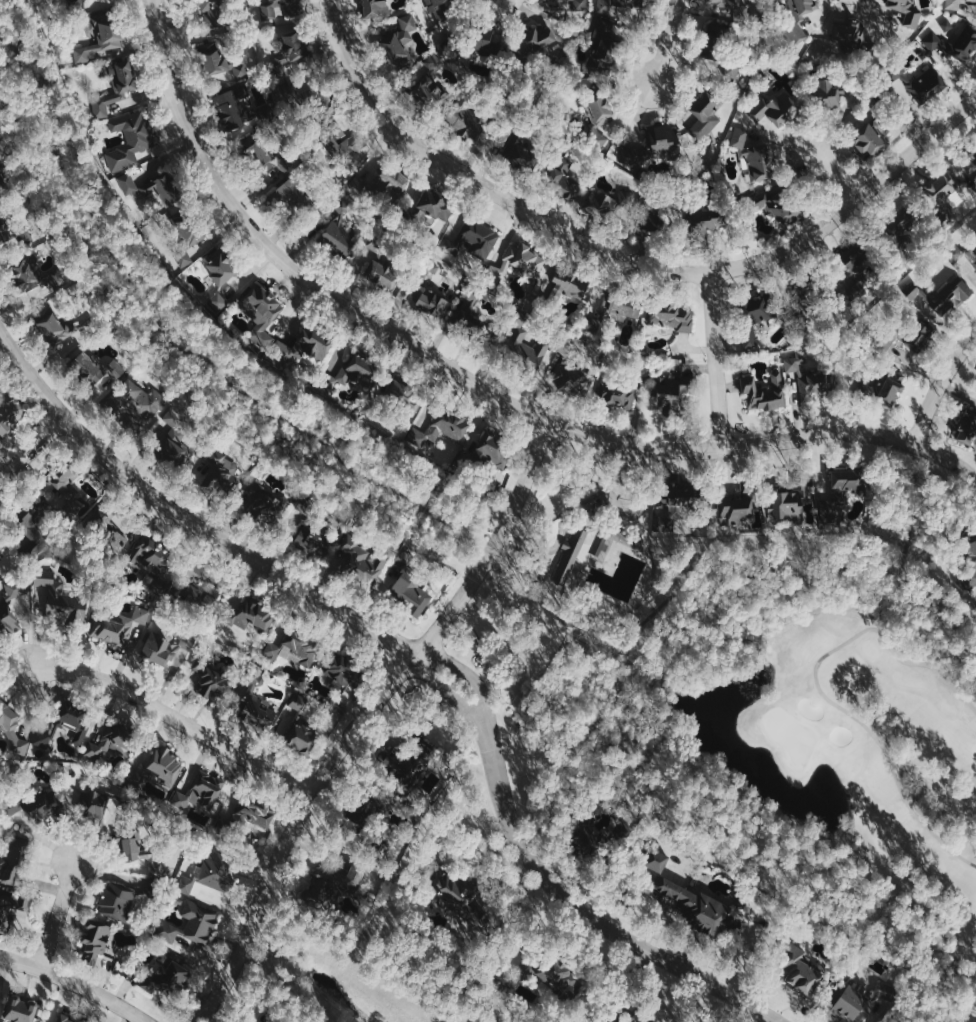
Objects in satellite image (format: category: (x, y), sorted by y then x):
building: (88, 0)
building: (725, 0)
building: (973, 0)
building: (76, 3)
building: (436, 3)
building: (954, 4)
building: (572, 5)
building: (616, 7)
building: (374, 8)
building: (268, 10)
building: (907, 12)
building: (213, 13)
building: (800, 19)
building: (850, 34)
building: (103, 40)
building: (487, 41)
building: (536, 41)
road: (667, 41)
building: (400, 43)
building: (954, 45)
building: (291, 53)
building: (222, 62)
building: (897, 70)
building: (424, 79)
building: (928, 84)
building: (116, 85)
building: (828, 94)
building: (232, 108)
building: (776, 109)
building: (705, 117)
building: (598, 120)
building: (465, 121)
building: (131, 139)
building: (342, 139)
building: (662, 141)
building: (868, 141)
building: (522, 153)
building: (754, 154)
building: (267, 157)
building: (1, 167)
building: (968, 167)
building: (563, 177)
road: (835, 178)
building: (392, 179)
building: (2, 183)
building: (941, 188)
building: (151, 189)
building: (290, 192)
building: (433, 204)
building: (601, 204)
building: (775, 205)
building: (664, 217)
building: (708, 219)
building: (900, 225)
building: (3, 230)
building: (342, 237)
building: (189, 238)
building: (476, 240)
building: (962, 253)
building: (516, 263)
building: (863, 263)
road: (622, 264)
building: (24, 274)
building: (381, 274)
building: (219, 277)
building: (58, 279)
building: (567, 288)
building: (429, 294)
building: (944, 300)
building: (621, 307)
building: (468, 312)
building: (754, 314)
building: (263, 315)
building: (673, 316)
building: (50, 325)
building: (921, 335)
building: (524, 343)
building: (313, 345)
building: (283, 350)
road: (715, 359)
building: (92, 367)
building: (351, 372)
building: (643, 372)
building: (810, 377)
building: (575, 380)
road: (475, 382)
building: (886, 385)
road: (940, 385)
building: (672, 392)
building: (764, 393)
building: (618, 396)
building: (404, 398)
building: (132, 401)
building: (9, 411)
building: (968, 428)
building: (440, 429)
building: (173, 447)
road: (32, 448)
building: (492, 448)
building: (218, 471)
building: (64, 475)
building: (846, 481)
building: (70, 494)
building: (683, 496)
road: (583, 500)
building: (783, 502)
building: (268, 504)
building: (734, 508)
road: (429, 510)
road: (914, 515)
road: (186, 517)
building: (106, 524)
park: (588, 539)
building: (311, 540)
building: (965, 546)
building: (0, 548)
road: (557, 548)
building: (578, 558)
building: (152, 561)
building: (364, 565)
building: (15, 588)
building: (195, 588)
building: (409, 591)
building: (59, 601)
building: (249, 615)
building: (7, 621)
building: (121, 627)
building: (300, 646)
building: (163, 649)
building: (346, 670)
road: (473, 680)
building: (214, 683)
road: (820, 692)
road: (453, 695)
building: (257, 701)
road: (175, 718)
road: (366, 719)
building: (299, 728)
building: (12, 730)
building: (81, 730)
park: (820, 730)
park: (790, 734)
building: (108, 751)
building: (405, 762)
building: (159, 767)
building: (200, 792)
building: (95, 805)
building: (35, 807)
building: (256, 815)
building: (585, 838)
building: (134, 845)
building: (13, 860)
building: (657, 861)
building: (340, 879)
building: (209, 880)
building: (454, 895)
building: (120, 903)
building: (698, 911)
road: (58, 914)
road: (593, 916)
building: (190, 926)
building: (95, 940)
building: (802, 968)
building: (548, 976)
building: (165, 977)
road: (74, 983)
building: (854, 1001)
building: (17, 1010)
building: (62, 1020)
building: (616, 1020)

